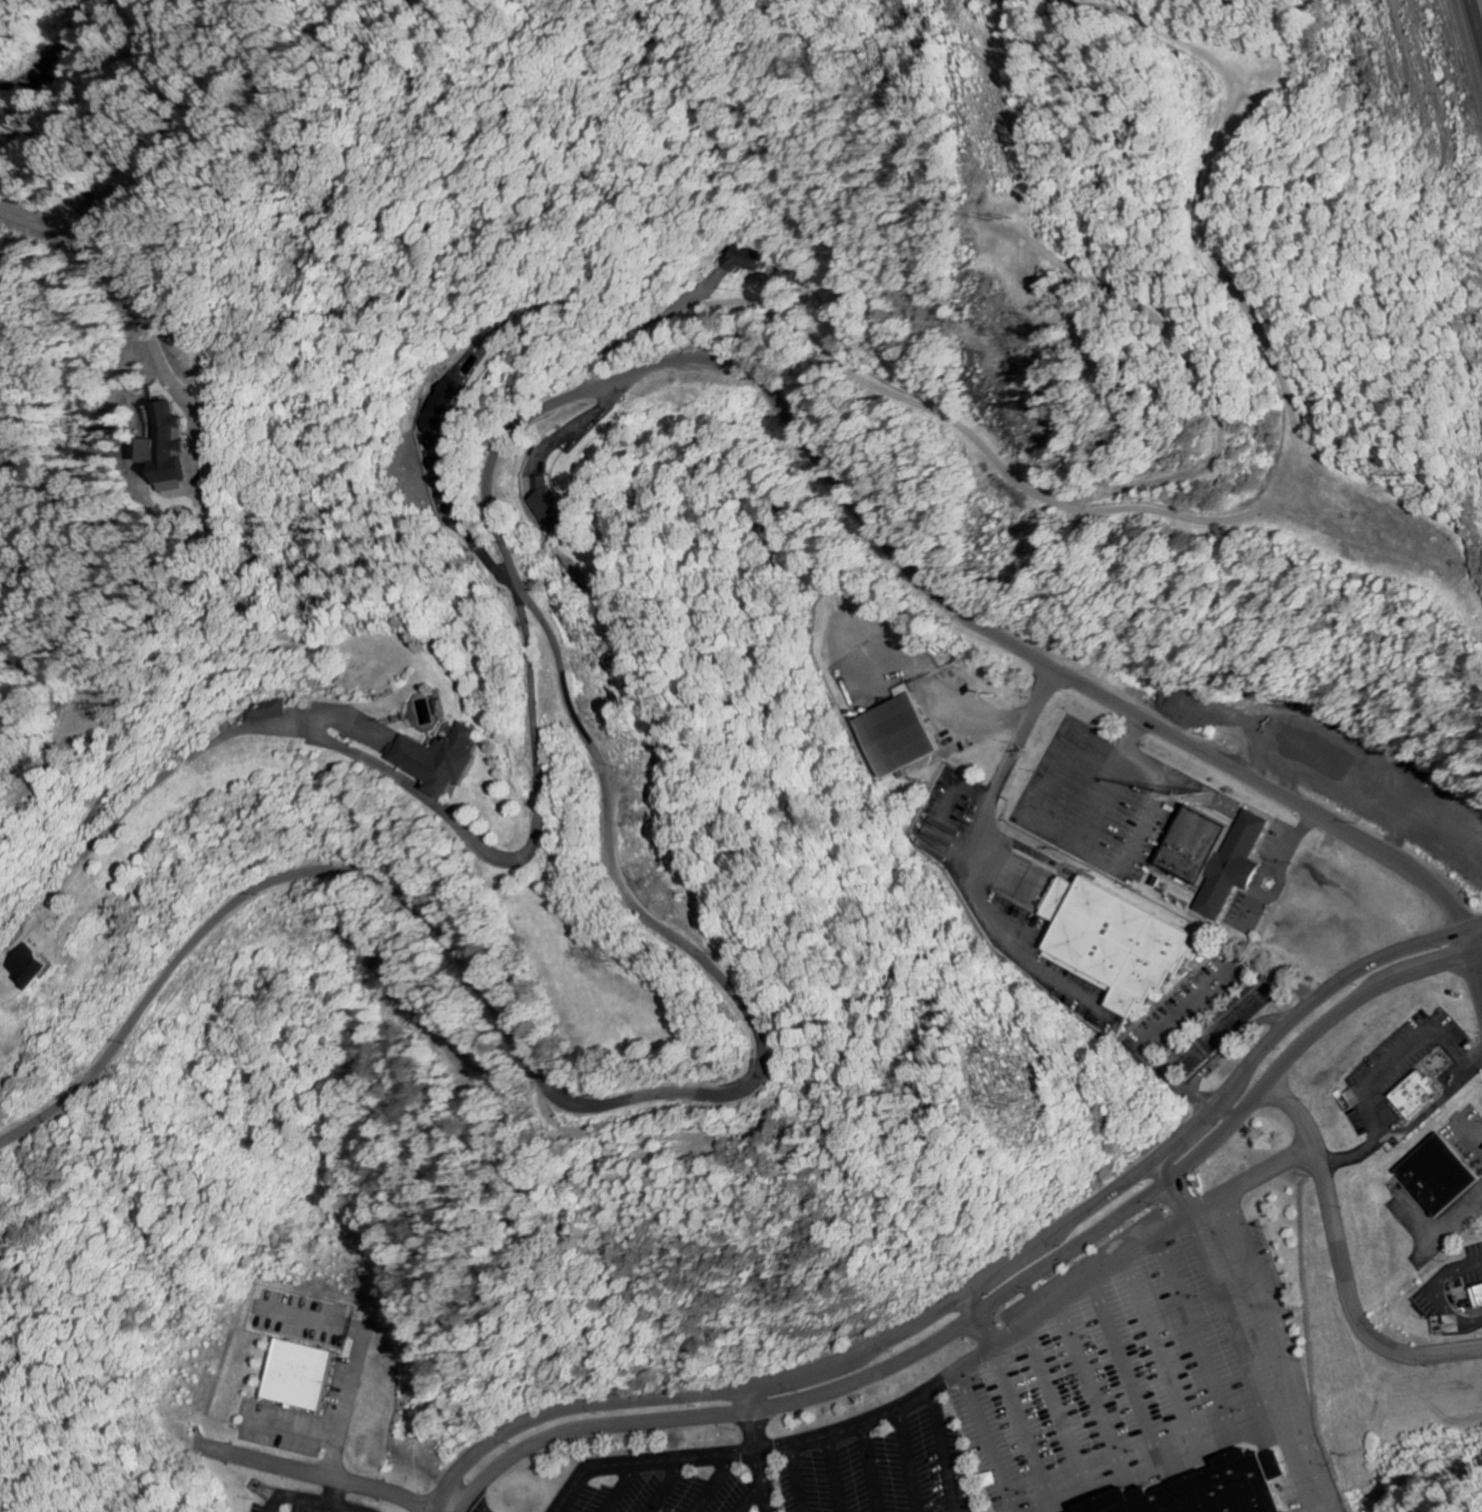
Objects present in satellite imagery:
road: (1474, 26)
power tower: (1010, 220)
building: (746, 259)
building: (447, 409)
building: (180, 453)
road: (558, 662)
building: (265, 711)
building: (447, 760)
road: (1100, 785)
building: (1221, 858)
road: (997, 926)
building: (1123, 943)
building: (33, 967)
road: (1476, 986)
building: (1416, 1092)
power tower: (1023, 1102)
building: (1438, 1173)
road: (1341, 1266)
road: (982, 1281)
building: (1477, 1294)
road: (1005, 1304)
building: (296, 1372)
power tower: (1336, 1462)
building: (1208, 1486)

